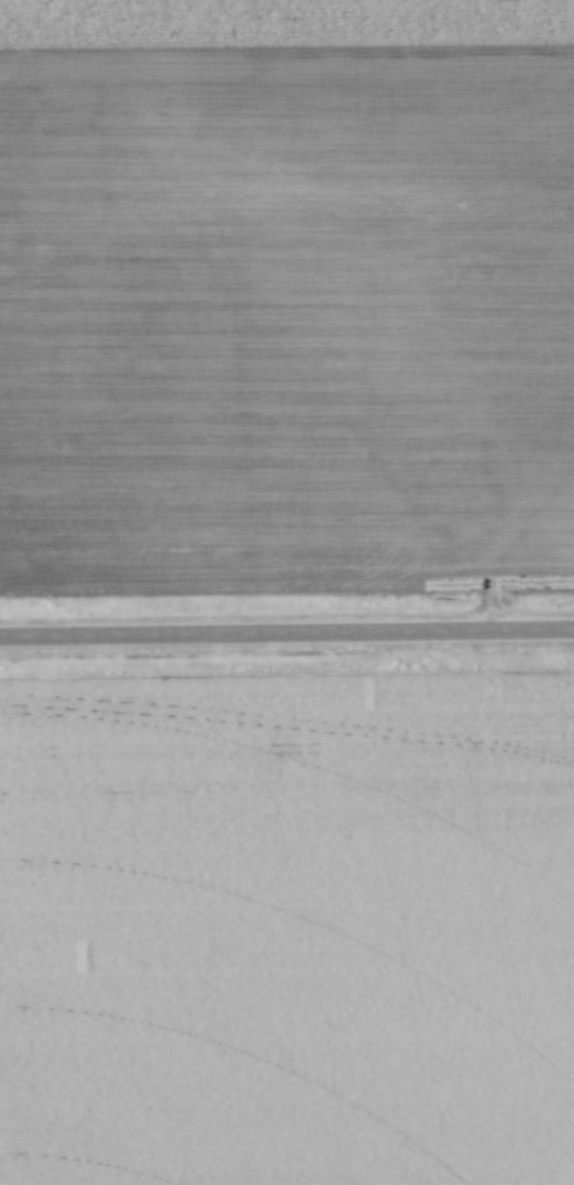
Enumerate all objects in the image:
crop: (286, 295)
road: (286, 631)
crop: (288, 932)

